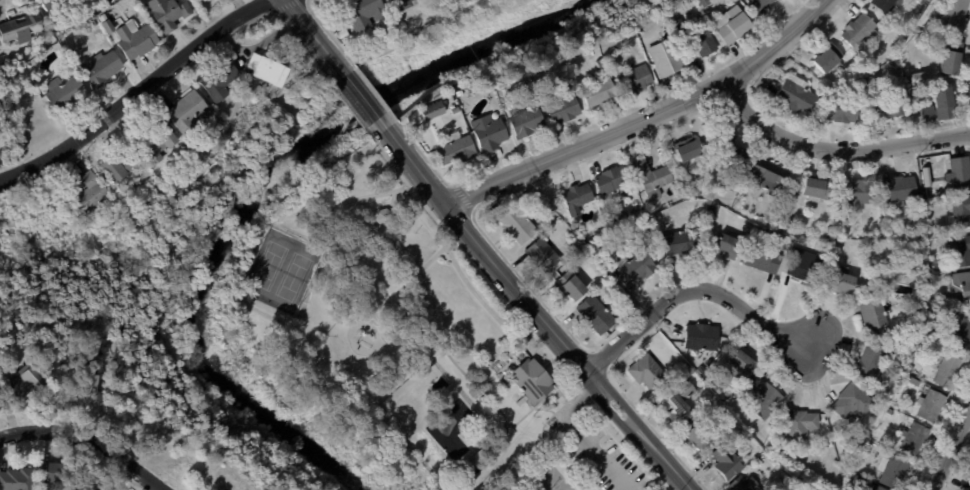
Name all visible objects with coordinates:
building: (88, 0)
building: (205, 0)
building: (94, 2)
building: (707, 2)
building: (761, 3)
building: (50, 4)
building: (405, 4)
building: (884, 5)
building: (117, 11)
building: (168, 13)
building: (364, 13)
building: (955, 16)
building: (93, 21)
building: (107, 25)
building: (680, 26)
building: (732, 27)
building: (19, 28)
building: (392, 29)
building: (860, 32)
road: (311, 33)
building: (343, 33)
building: (60, 35)
building: (701, 40)
building: (136, 42)
building: (951, 57)
building: (669, 59)
building: (830, 60)
building: (897, 63)
building: (102, 69)
building: (268, 71)
building: (920, 78)
building: (636, 80)
building: (220, 82)
building: (253, 82)
building: (459, 93)
building: (600, 93)
building: (66, 94)
road: (138, 94)
building: (534, 94)
building: (798, 96)
road: (363, 99)
building: (451, 99)
building: (889, 107)
building: (565, 108)
building: (940, 108)
building: (455, 110)
building: (434, 111)
building: (844, 112)
building: (188, 114)
road: (643, 118)
building: (527, 119)
building: (487, 132)
building: (153, 142)
building: (726, 142)
building: (190, 143)
building: (455, 147)
building: (184, 148)
building: (689, 149)
road: (835, 152)
road: (408, 157)
building: (735, 161)
building: (118, 169)
building: (961, 174)
building: (771, 177)
building: (613, 180)
building: (654, 180)
building: (153, 188)
building: (816, 190)
building: (858, 192)
building: (900, 192)
building: (90, 193)
building: (698, 194)
building: (580, 200)
building: (833, 206)
building: (852, 207)
building: (603, 208)
building: (716, 210)
building: (962, 211)
building: (384, 217)
building: (518, 223)
building: (614, 223)
building: (789, 230)
building: (832, 230)
building: (681, 243)
building: (826, 243)
building: (728, 247)
building: (961, 252)
building: (544, 255)
building: (764, 261)
park: (269, 265)
building: (805, 266)
building: (939, 267)
building: (636, 270)
road: (462, 276)
park: (294, 277)
building: (841, 281)
building: (936, 282)
building: (961, 285)
building: (572, 287)
road: (692, 292)
building: (634, 308)
road: (267, 314)
building: (597, 314)
building: (876, 317)
road: (557, 336)
building: (703, 338)
building: (969, 344)
building: (745, 361)
building: (911, 361)
building: (710, 362)
building: (873, 365)
building: (912, 370)
building: (648, 372)
building: (950, 373)
building: (531, 378)
building: (916, 382)
building: (28, 383)
building: (77, 388)
building: (106, 390)
building: (764, 398)
building: (678, 400)
building: (854, 402)
building: (932, 407)
building: (723, 408)
building: (800, 425)
road: (31, 434)
building: (697, 435)
road: (586, 436)
building: (915, 439)
building: (830, 444)
building: (889, 451)
road: (950, 452)
road: (119, 454)
building: (727, 463)
building: (761, 463)
building: (896, 473)
building: (59, 475)
park: (553, 479)
building: (18, 480)
building: (745, 484)
building: (803, 485)
building: (878, 488)
building: (101, 489)

